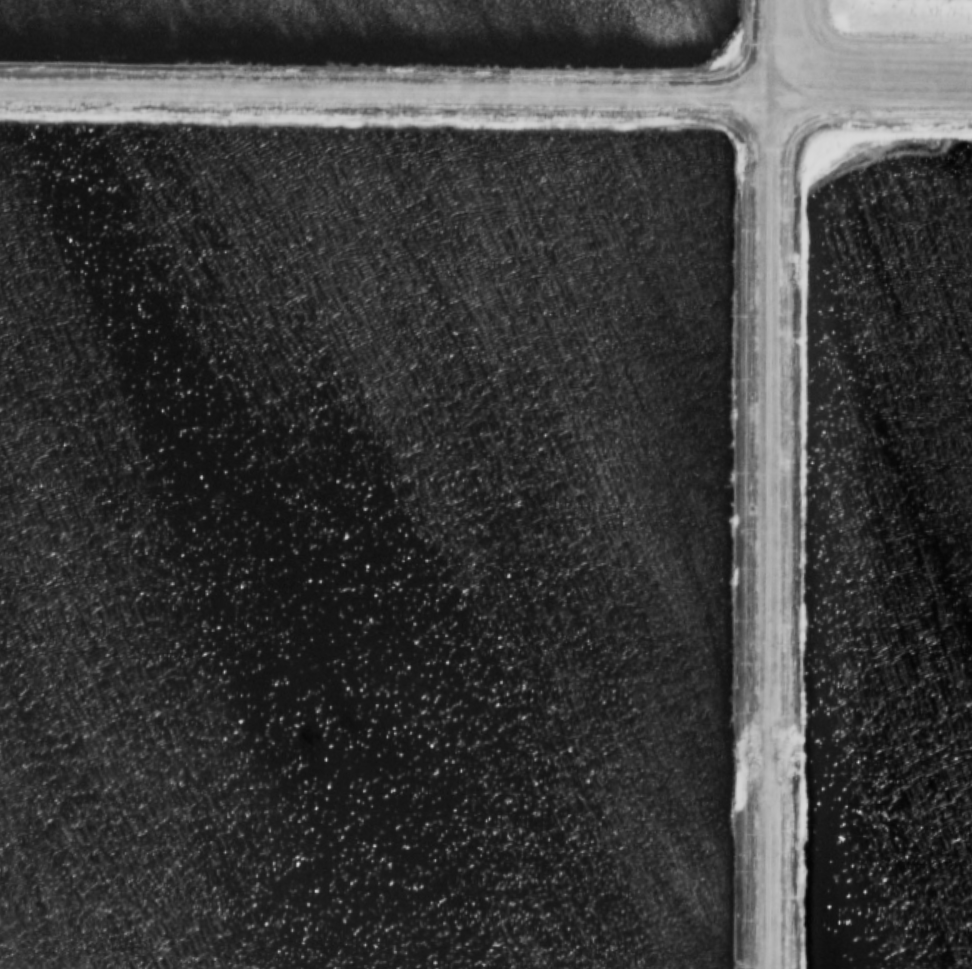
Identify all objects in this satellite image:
road: (871, 102)
wastewater plant: (486, 484)
road: (771, 484)

